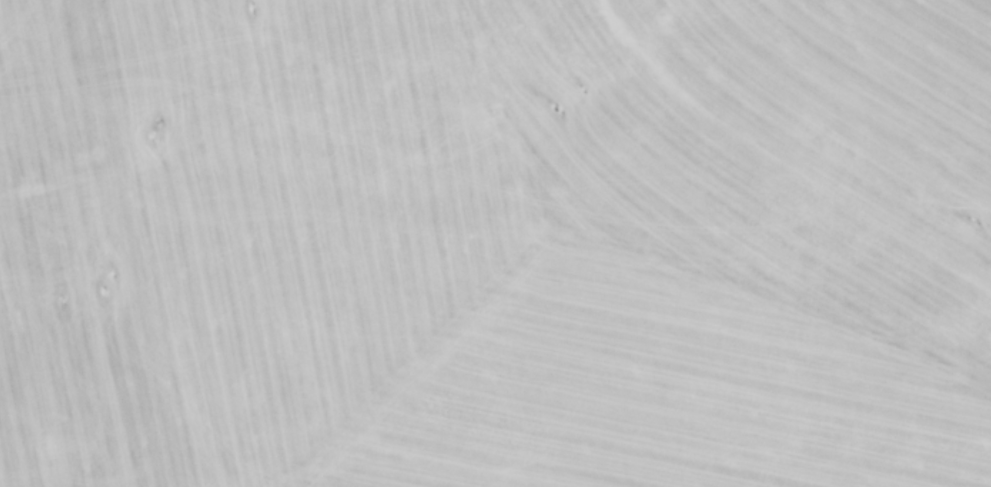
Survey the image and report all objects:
crop: (495, 243)

